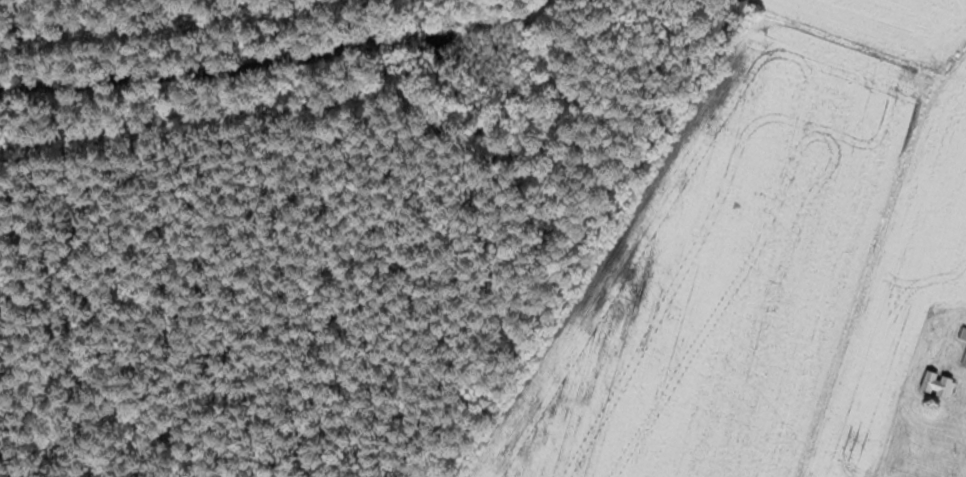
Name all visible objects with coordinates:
building: (962, 333)
building: (964, 361)
building: (939, 383)

